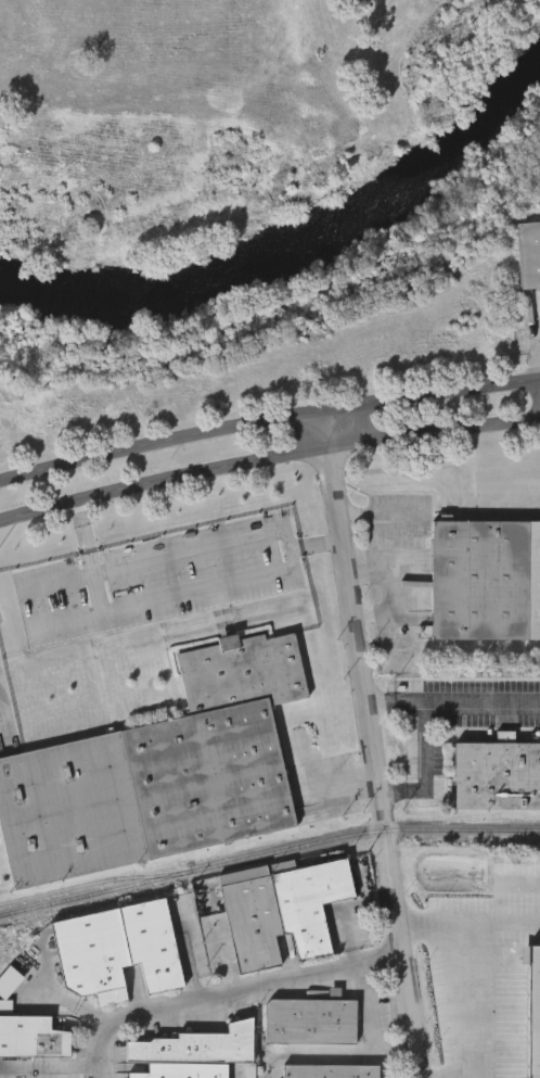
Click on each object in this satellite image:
building: (529, 254)
road: (537, 357)
road: (267, 419)
road: (267, 458)
road: (382, 513)
road: (317, 545)
road: (292, 549)
road: (91, 558)
building: (486, 580)
road: (384, 587)
road: (407, 598)
road: (484, 701)
road: (398, 702)
road: (371, 721)
road: (428, 768)
building: (162, 771)
building: (497, 775)
railway: (267, 855)
railway: (93, 883)
building: (283, 913)
building: (118, 950)
road: (249, 997)
building: (310, 1022)
building: (33, 1041)
road: (415, 1055)
road: (355, 1058)
road: (100, 1064)
building: (177, 1070)
building: (331, 1071)
road: (434, 1074)

